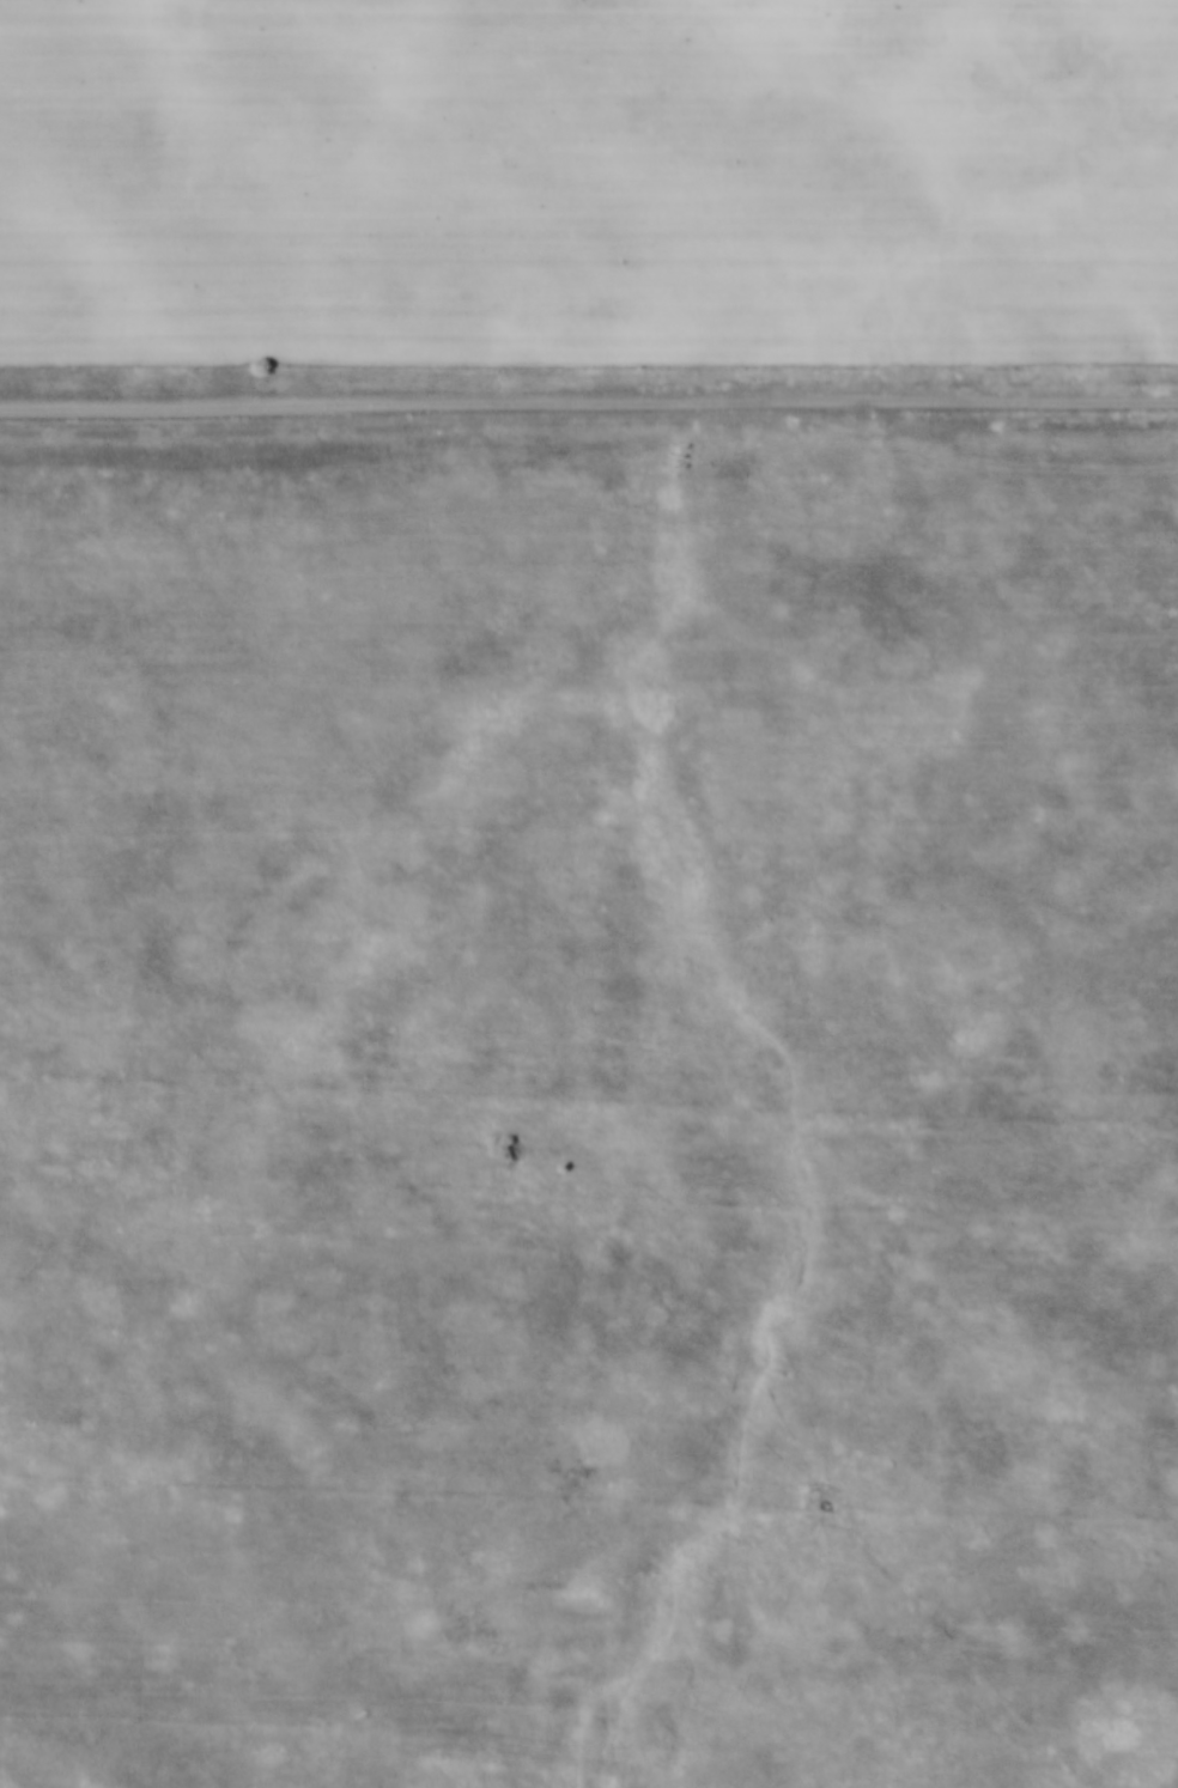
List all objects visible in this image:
road: (588, 401)

